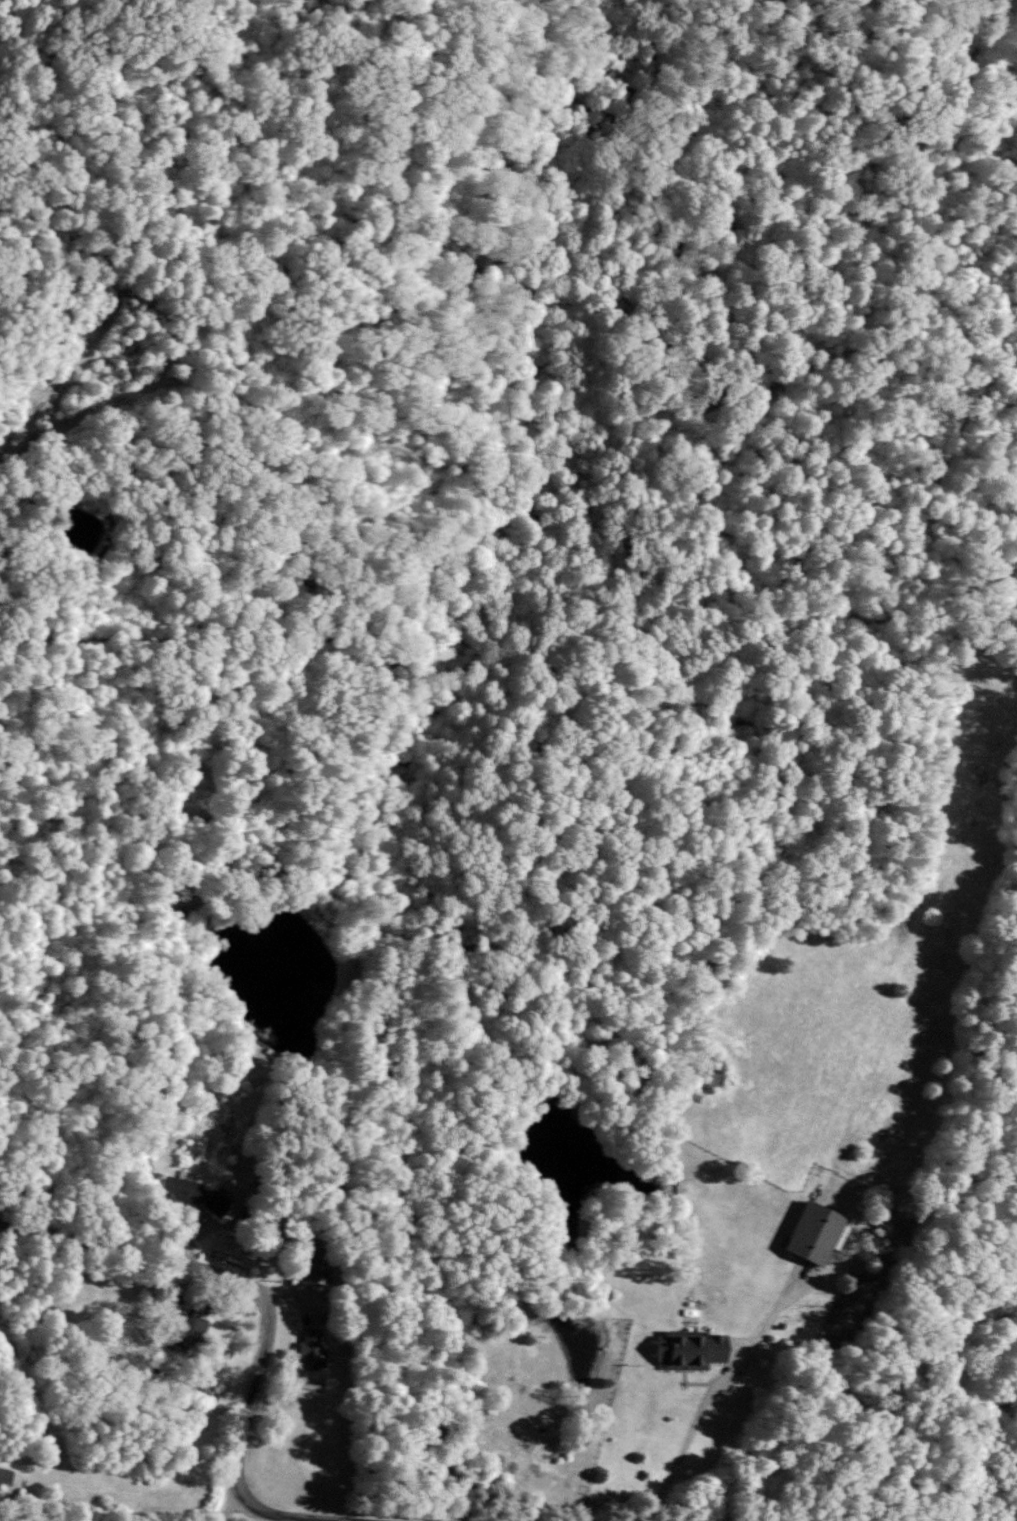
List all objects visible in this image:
building: (188, 1192)
building: (811, 1231)
building: (312, 1265)
building: (187, 1329)
building: (686, 1348)
building: (309, 1349)
road: (255, 1373)
road: (677, 1463)
building: (4, 1475)
road: (227, 1499)
road: (294, 1512)
road: (19, 1519)

